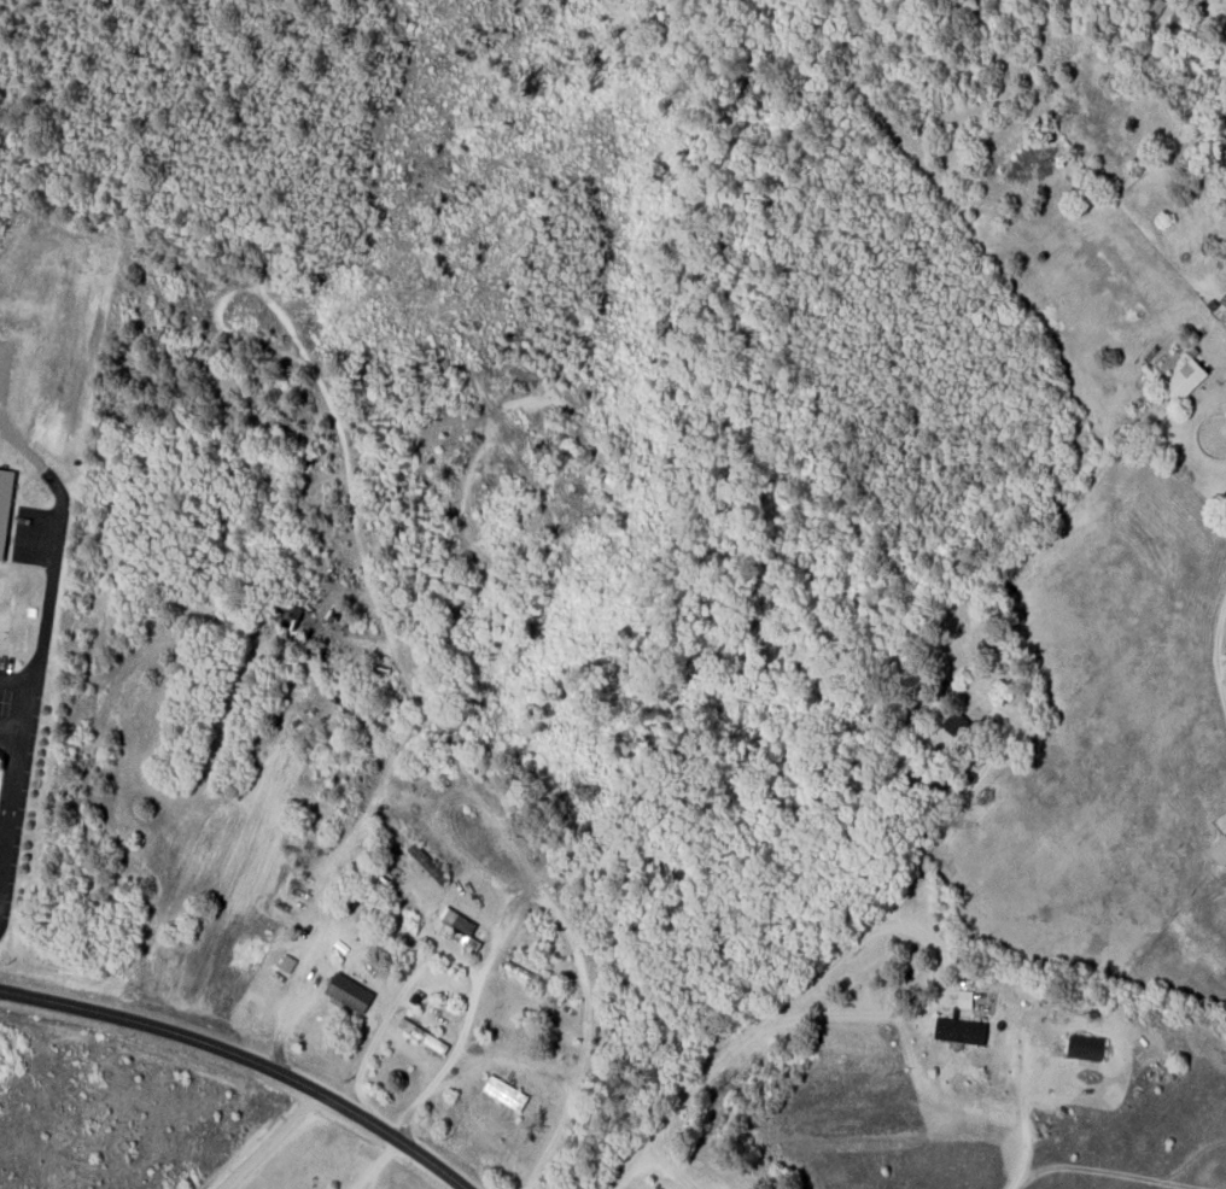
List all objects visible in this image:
building: (1152, 10)
building: (1184, 379)
building: (4, 505)
road: (1215, 649)
road: (17, 676)
road: (30, 697)
building: (954, 724)
road: (12, 736)
building: (1219, 849)
road: (827, 962)
building: (348, 991)
building: (959, 1030)
building: (1084, 1047)
road: (247, 1056)
road: (272, 1141)

